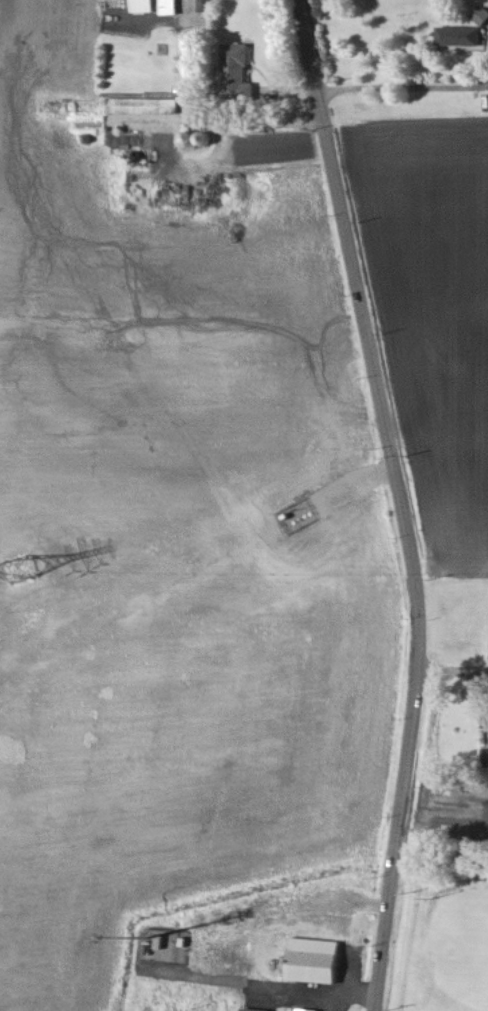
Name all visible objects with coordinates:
building: (211, 6)
building: (148, 7)
building: (173, 8)
building: (484, 17)
building: (465, 38)
building: (245, 73)
road: (403, 86)
building: (147, 108)
road: (208, 113)
road: (401, 502)
power tower: (23, 570)
park: (441, 929)
building: (319, 962)
building: (248, 1010)
building: (303, 1010)

